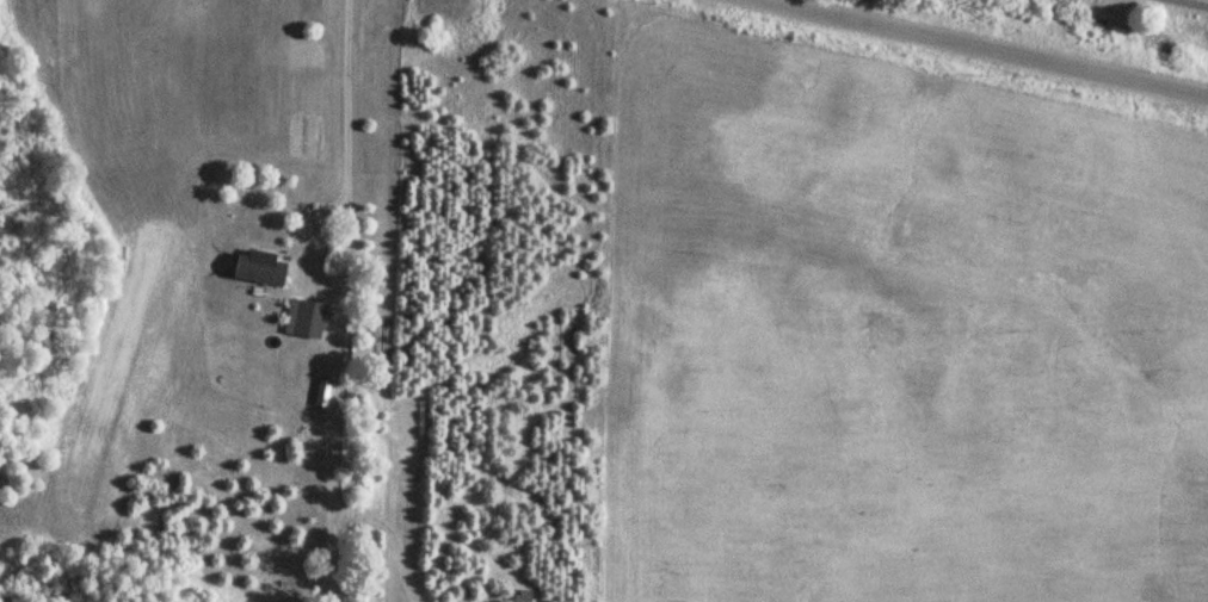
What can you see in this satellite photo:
road: (1184, 5)
road: (974, 51)
building: (255, 268)
building: (304, 319)
building: (519, 598)

